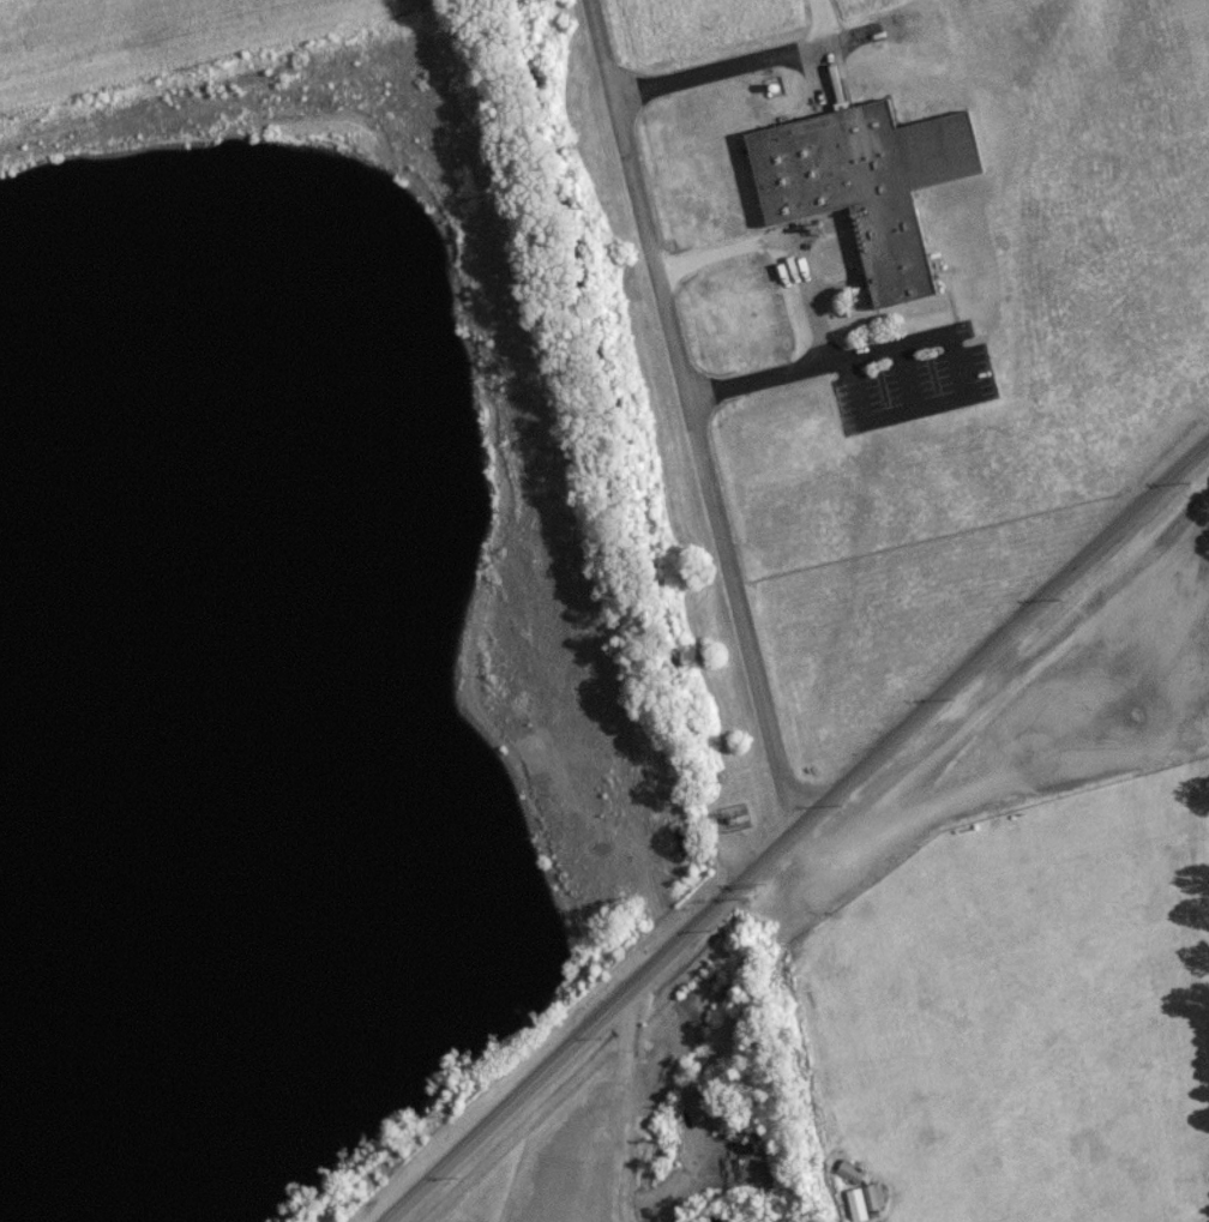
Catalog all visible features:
road: (746, 72)
building: (866, 189)
road: (837, 293)
road: (812, 303)
parking lot: (912, 379)
road: (691, 419)
parking lot: (1052, 706)
road: (802, 833)
park: (1021, 1012)
quarry: (615, 1149)

